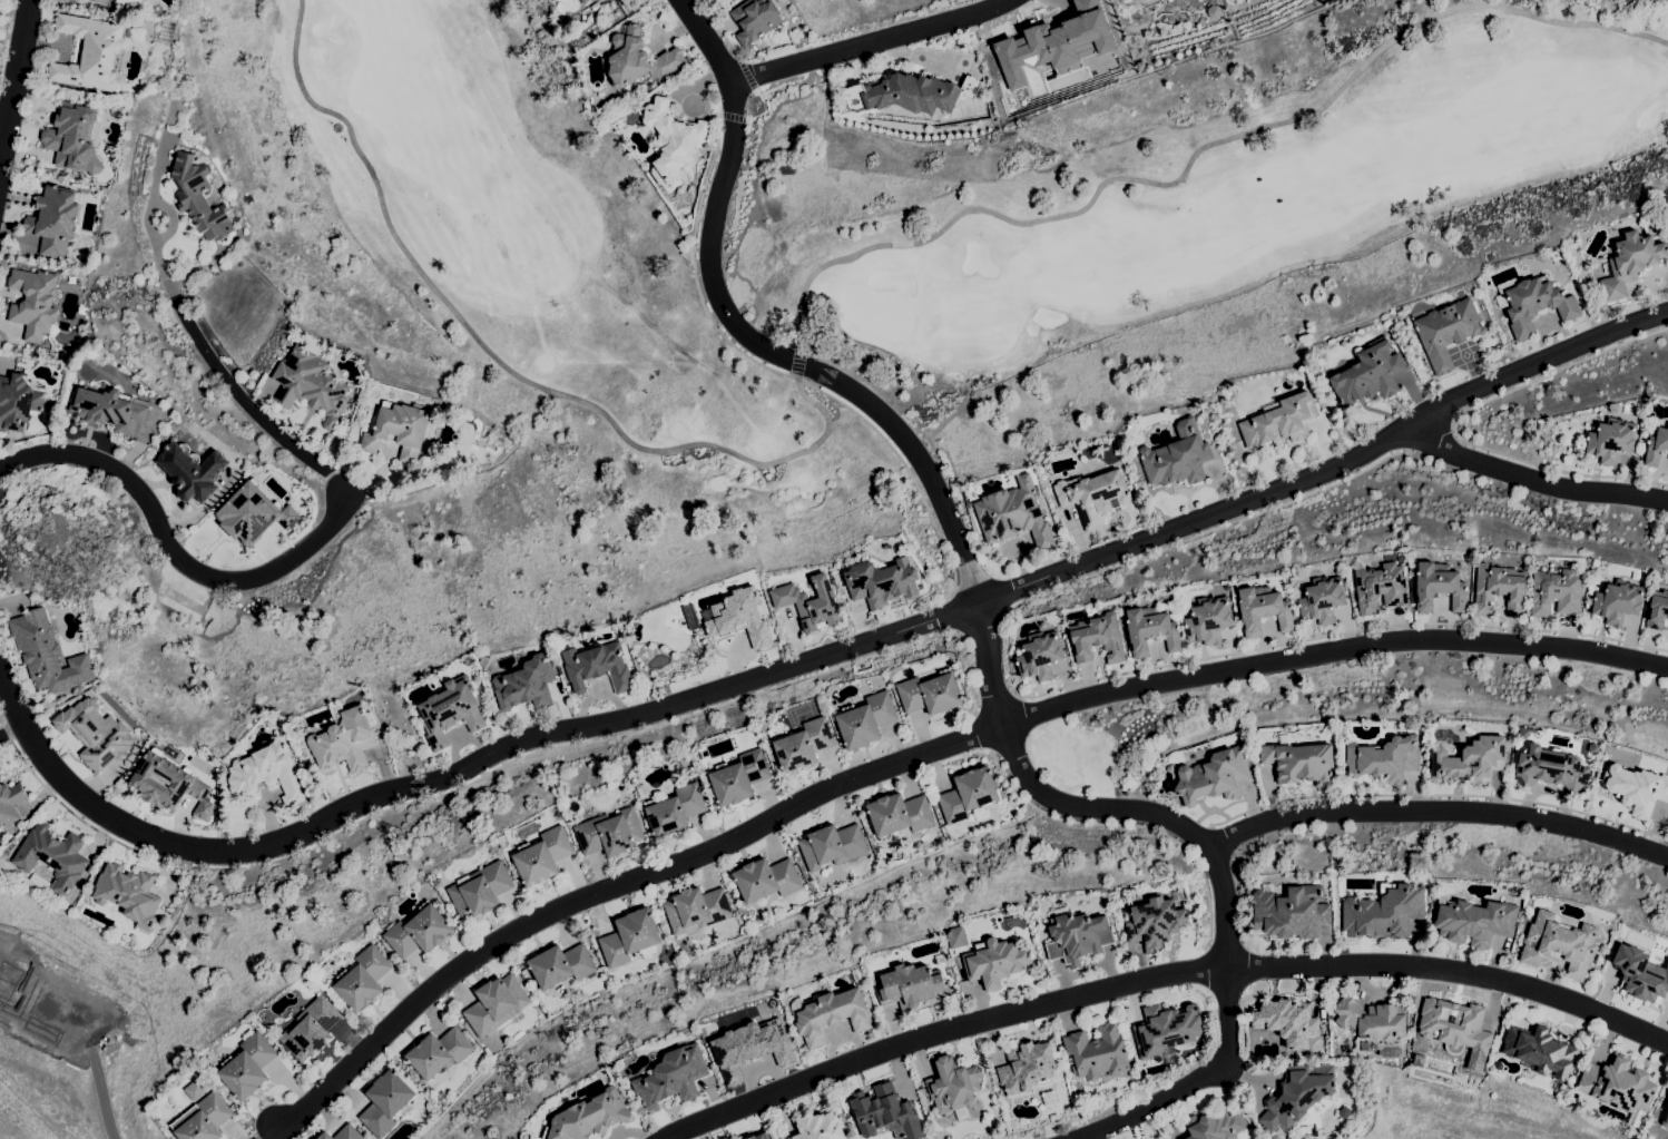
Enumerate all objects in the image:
building: (1120, 0)
building: (126, 1)
building: (585, 1)
building: (1213, 11)
building: (755, 19)
road: (4, 31)
road: (724, 33)
road: (869, 40)
building: (1052, 42)
building: (89, 52)
building: (639, 59)
building: (1140, 66)
road: (749, 75)
road: (13, 76)
building: (920, 92)
road: (766, 108)
road: (734, 114)
building: (72, 139)
building: (671, 141)
road: (1197, 150)
building: (198, 197)
building: (53, 219)
road: (155, 223)
park: (962, 236)
building: (1554, 255)
building: (1629, 263)
building: (33, 302)
building: (1532, 304)
park: (876, 311)
building: (1446, 332)
road: (501, 361)
road: (798, 362)
road: (783, 371)
building: (1368, 374)
road: (825, 375)
building: (310, 384)
building: (18, 402)
building: (109, 410)
road: (1455, 419)
building: (1279, 422)
building: (1131, 429)
building: (402, 430)
road: (1431, 433)
building: (1610, 440)
road: (910, 446)
building: (1656, 446)
building: (1177, 456)
building: (192, 471)
road: (1535, 479)
building: (1093, 494)
building: (249, 512)
building: (1013, 514)
road: (1209, 532)
road: (290, 557)
building: (881, 581)
building: (1438, 586)
building: (1380, 588)
building: (1498, 588)
building: (1556, 592)
building: (1322, 599)
building: (1617, 602)
building: (808, 603)
road: (958, 609)
building: (1263, 610)
building: (1657, 610)
building: (740, 617)
building: (1052, 619)
building: (1208, 619)
road: (982, 621)
building: (1150, 630)
road: (1342, 635)
building: (1097, 638)
building: (47, 654)
road: (812, 656)
building: (1039, 656)
building: (597, 667)
building: (526, 684)
building: (930, 694)
building: (68, 703)
road: (998, 705)
building: (450, 711)
building: (865, 719)
road: (983, 728)
road: (11, 729)
building: (275, 733)
building: (95, 734)
building: (343, 740)
building: (803, 745)
road: (925, 752)
building: (1384, 759)
building: (1298, 760)
building: (1470, 762)
building: (1551, 768)
road: (490, 770)
building: (267, 773)
building: (0, 775)
building: (739, 777)
building: (1213, 777)
building: (168, 784)
building: (1636, 788)
building: (968, 795)
road: (1431, 795)
building: (10, 802)
building: (675, 811)
road: (1442, 811)
building: (899, 815)
building: (609, 833)
road: (1142, 833)
building: (832, 846)
building: (52, 856)
building: (542, 856)
building: (766, 880)
building: (480, 890)
building: (128, 894)
building: (695, 911)
building: (1291, 912)
building: (1383, 913)
building: (1474, 922)
building: (1155, 923)
building: (418, 931)
building: (629, 936)
building: (1077, 936)
building: (954, 937)
building: (1560, 944)
building: (995, 962)
building: (561, 965)
building: (1640, 974)
road: (1158, 976)
building: (362, 979)
building: (912, 985)
building: (497, 1004)
building: (832, 1015)
building: (1371, 1020)
building: (1287, 1022)
building: (1454, 1027)
building: (1164, 1028)
building: (311, 1029)
road: (1232, 1038)
building: (749, 1047)
building: (1540, 1050)
building: (1097, 1051)
building: (439, 1052)
building: (247, 1067)
building: (1026, 1068)
building: (671, 1077)
building: (1618, 1084)
building: (953, 1087)
road: (101, 1093)
building: (1298, 1096)
building: (1049, 1099)
building: (385, 1102)
building: (885, 1112)
building: (1344, 1112)
building: (1664, 1115)
building: (589, 1117)
building: (205, 1119)
building: (988, 1121)
building: (1216, 1125)
building: (820, 1127)
road: (265, 1131)
building: (343, 1133)
building: (762, 1136)
building: (1181, 1138)

